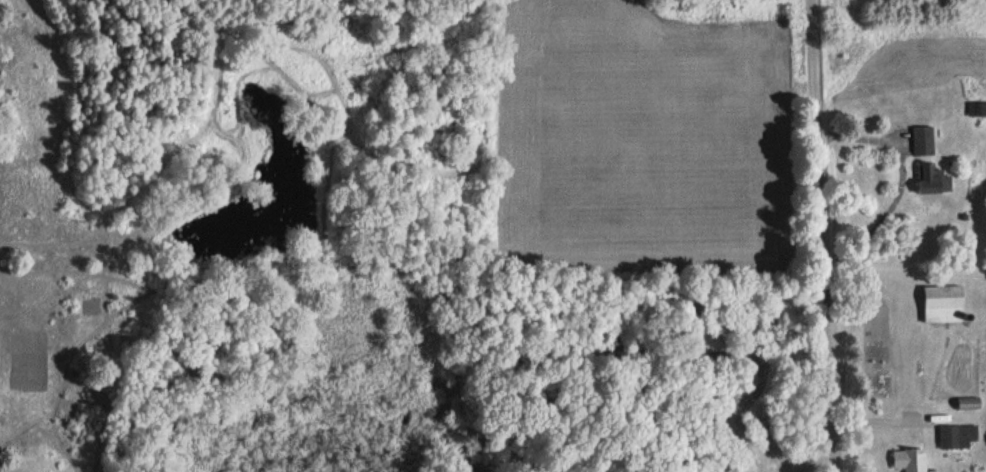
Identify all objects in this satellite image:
building: (980, 108)
building: (925, 140)
building: (937, 178)
road: (902, 182)
road: (826, 235)
building: (944, 304)
building: (970, 403)
building: (958, 436)
building: (911, 460)
road: (816, 463)

